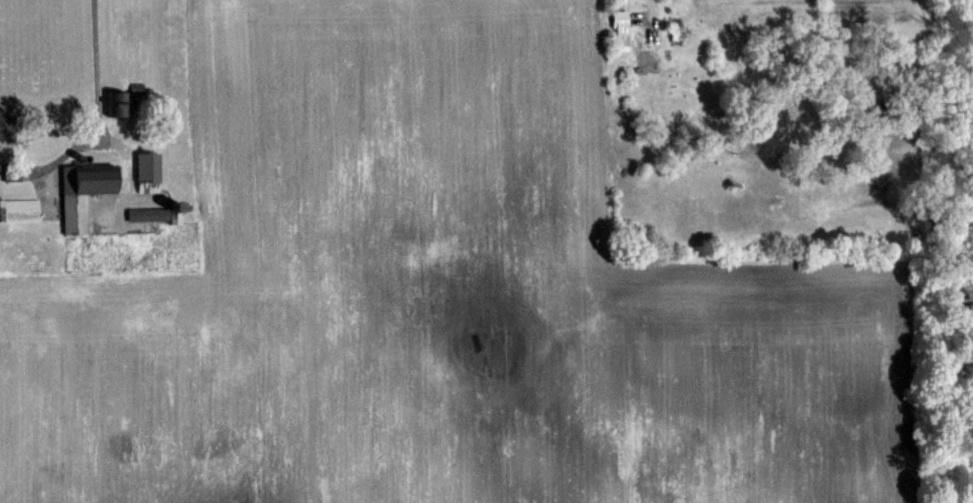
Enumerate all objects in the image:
building: (623, 34)

